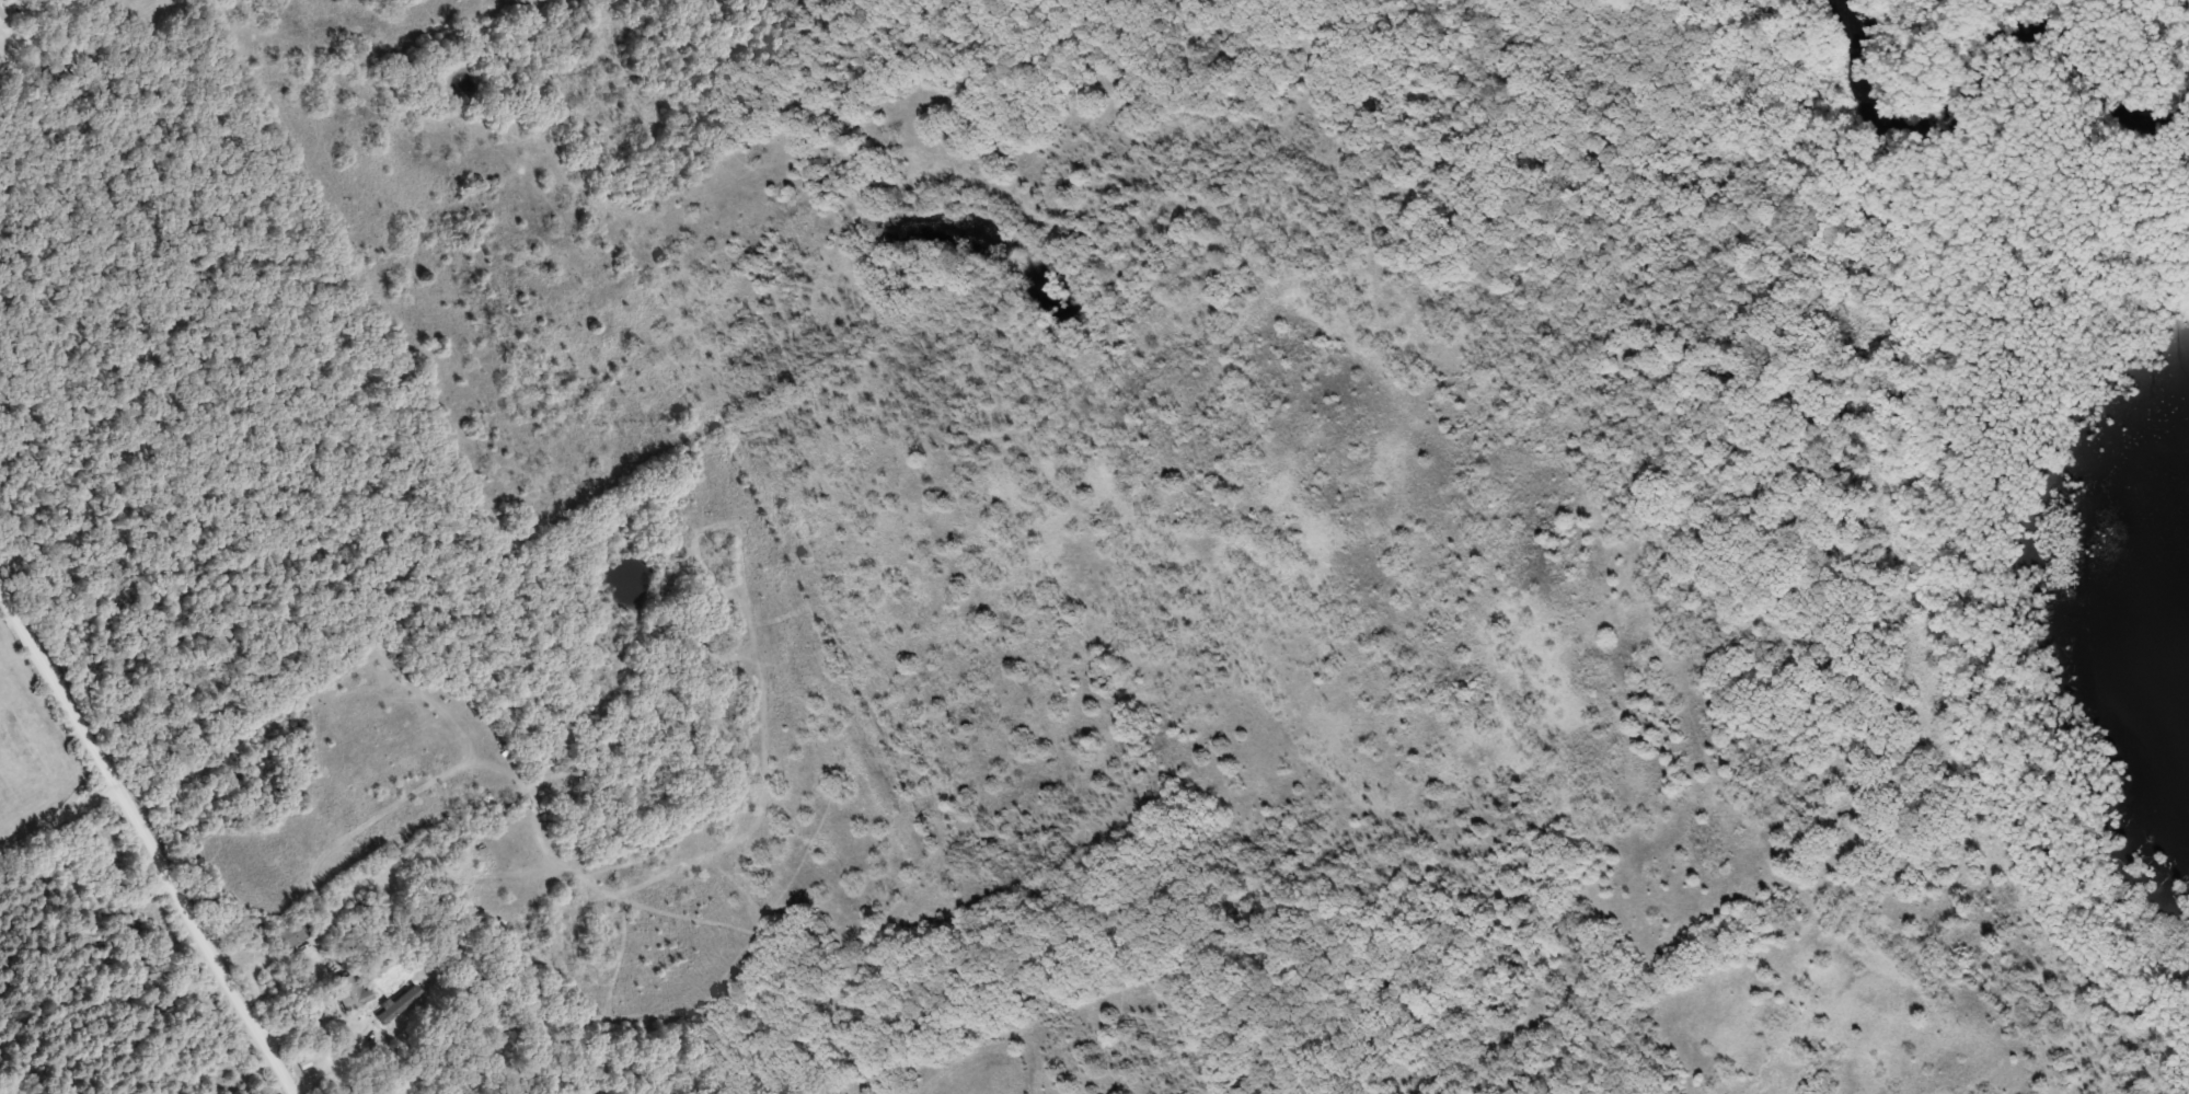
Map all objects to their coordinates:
building: (54, 74)
road: (152, 833)
building: (296, 931)
building: (353, 990)

